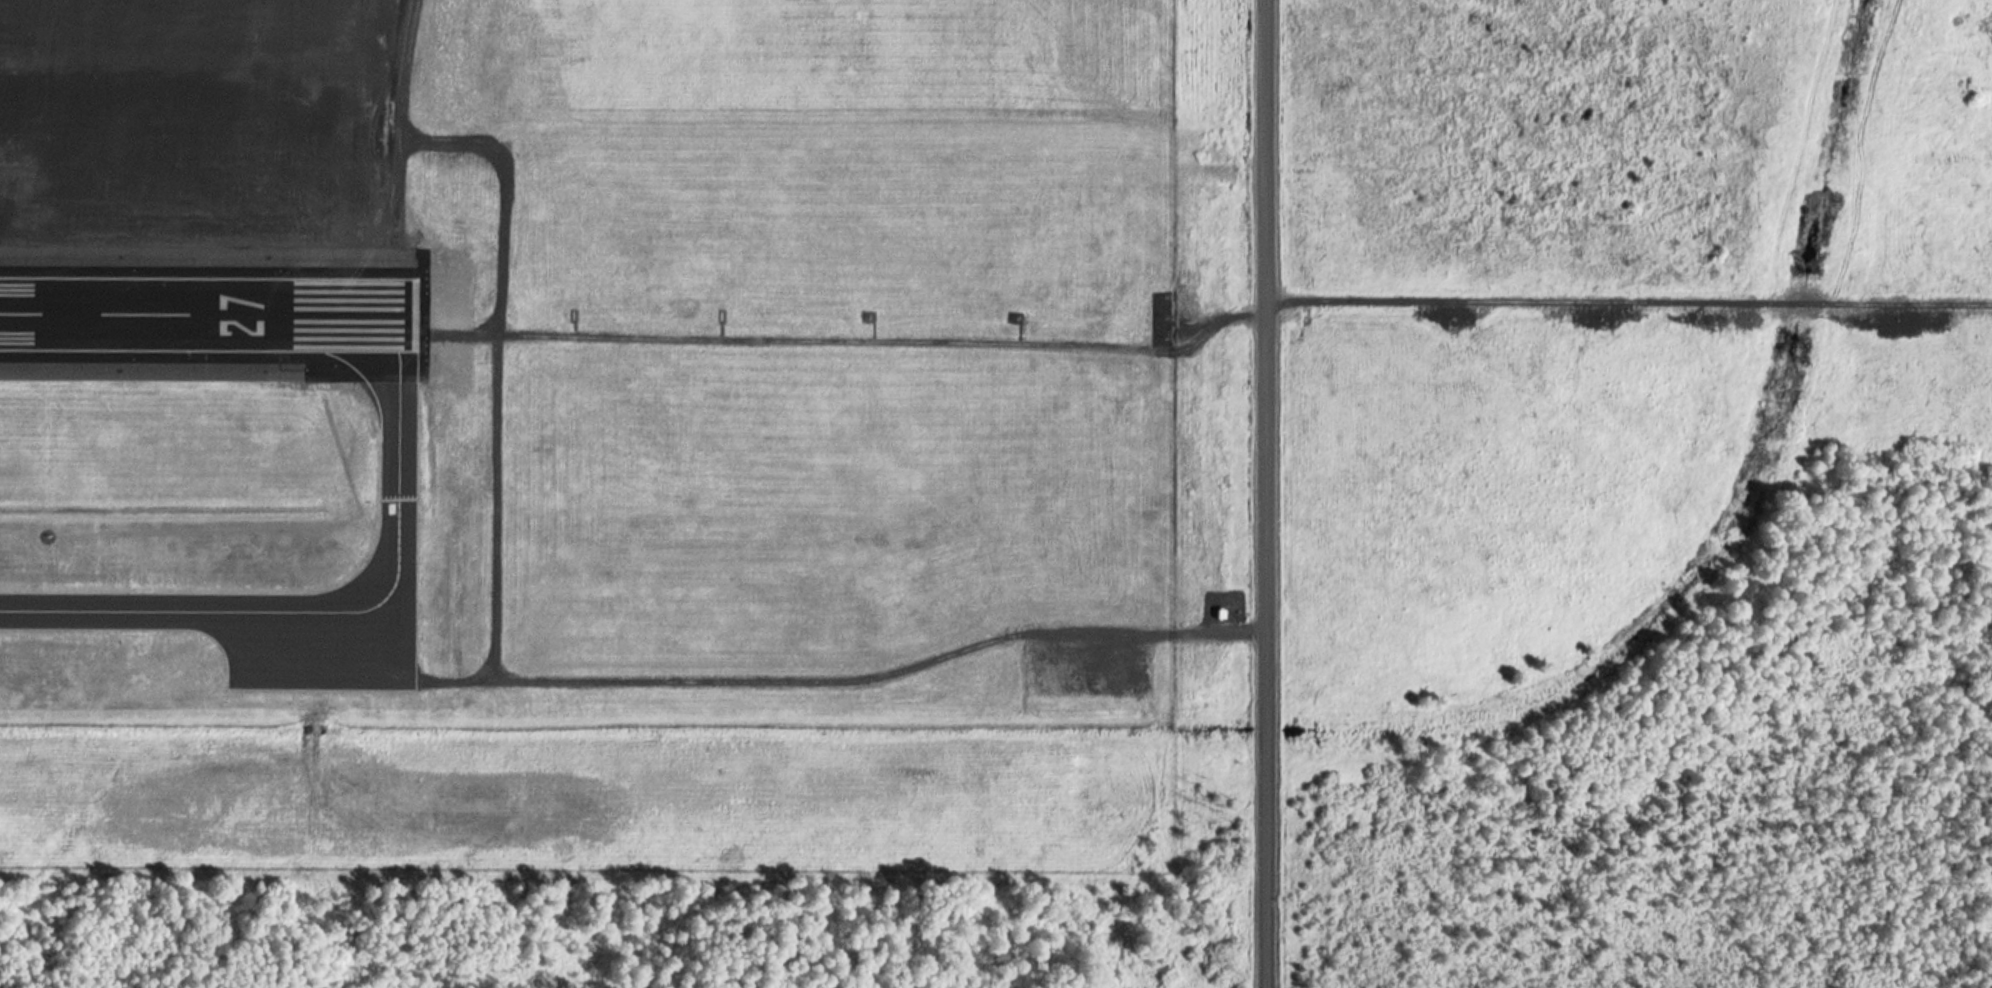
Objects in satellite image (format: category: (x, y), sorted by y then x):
airport runway: (204, 310)
airport: (586, 433)
road: (1280, 488)
airport taxiway: (334, 603)
road: (1315, 987)

